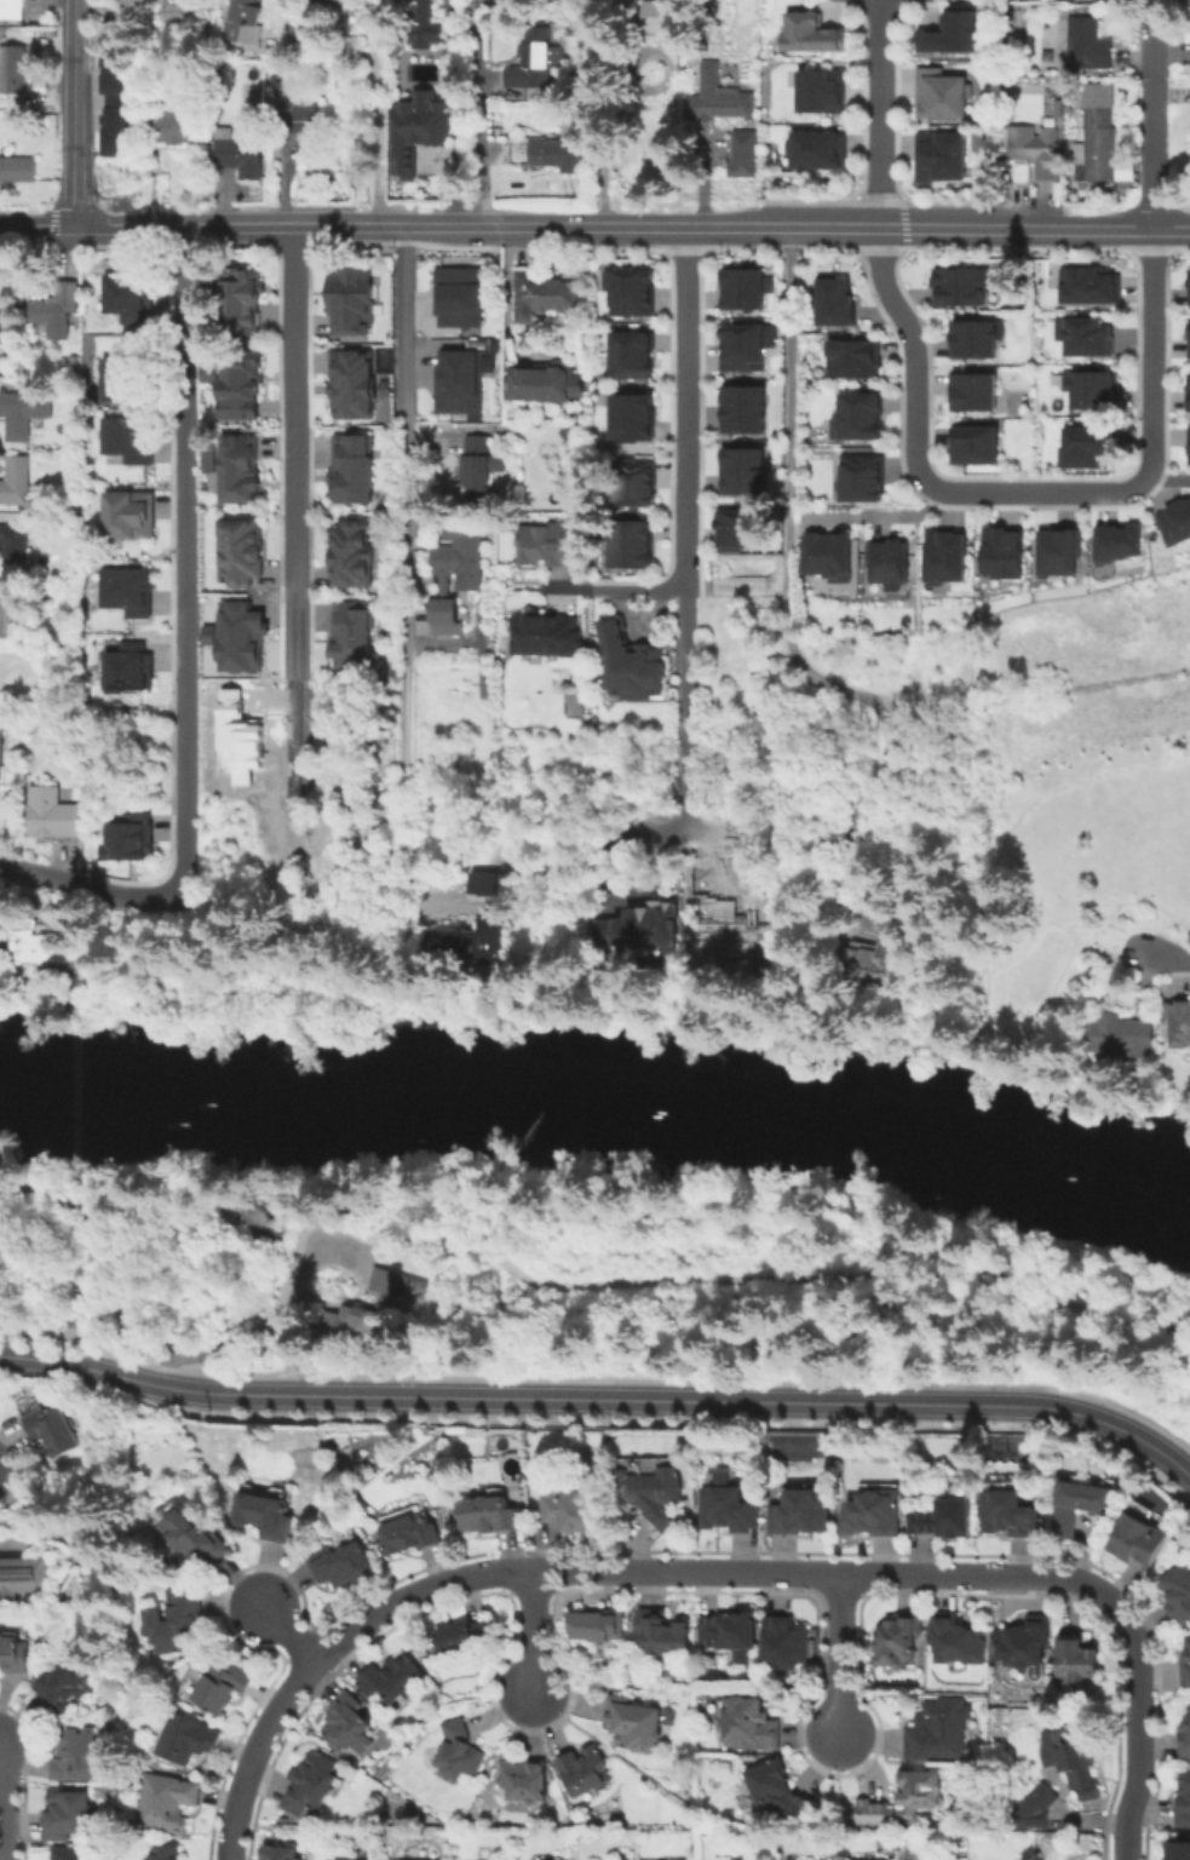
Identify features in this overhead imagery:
building: (1092, 0)
building: (323, 4)
building: (621, 4)
building: (12, 10)
building: (174, 13)
building: (127, 17)
building: (665, 18)
building: (242, 22)
building: (420, 24)
building: (954, 31)
building: (811, 33)
building: (1090, 46)
building: (535, 63)
building: (661, 69)
building: (15, 73)
road: (453, 77)
building: (821, 92)
building: (943, 96)
building: (719, 101)
building: (114, 102)
road: (378, 104)
road: (75, 113)
road: (881, 113)
road: (1152, 114)
building: (299, 116)
building: (177, 128)
building: (418, 133)
road: (481, 136)
building: (1100, 142)
building: (820, 151)
building: (1035, 151)
building: (242, 154)
building: (546, 157)
building: (743, 157)
building: (943, 159)
building: (18, 172)
road: (458, 189)
road: (471, 224)
road: (128, 225)
road: (38, 226)
road: (880, 226)
road: (1096, 228)
building: (960, 285)
building: (1086, 286)
building: (1188, 287)
building: (740, 288)
building: (631, 292)
building: (455, 295)
building: (130, 297)
building: (544, 297)
building: (347, 299)
building: (832, 300)
road: (507, 304)
building: (240, 305)
building: (0, 309)
building: (57, 311)
building: (1082, 337)
building: (975, 339)
building: (1189, 339)
building: (743, 348)
building: (631, 354)
building: (851, 358)
building: (127, 379)
building: (458, 380)
building: (236, 383)
building: (349, 383)
building: (546, 385)
building: (1096, 391)
building: (1189, 392)
building: (976, 394)
building: (743, 409)
building: (17, 417)
building: (628, 418)
building: (857, 418)
building: (128, 438)
building: (1188, 444)
building: (975, 446)
building: (1091, 448)
road: (688, 449)
road: (295, 450)
building: (237, 470)
building: (349, 470)
building: (478, 470)
building: (742, 472)
building: (863, 478)
building: (16, 481)
road: (1168, 481)
building: (631, 482)
road: (1029, 492)
road: (406, 498)
building: (128, 515)
road: (879, 515)
building: (1175, 522)
building: (735, 529)
building: (1114, 542)
building: (631, 545)
building: (550, 546)
building: (15, 549)
building: (1060, 552)
building: (461, 553)
building: (243, 555)
building: (351, 555)
building: (945, 556)
building: (829, 557)
building: (1002, 557)
building: (890, 566)
road: (562, 590)
building: (126, 591)
road: (789, 598)
road: (185, 609)
building: (8, 613)
building: (444, 615)
building: (351, 635)
building: (541, 635)
building: (235, 636)
road: (433, 644)
building: (630, 665)
building: (127, 668)
building: (238, 740)
building: (1, 748)
road: (686, 775)
building: (53, 815)
building: (127, 837)
park: (1076, 837)
road: (40, 876)
building: (495, 914)
building: (1, 920)
building: (642, 926)
building: (44, 951)
building: (883, 957)
road: (1166, 957)
building: (1178, 1024)
building: (1119, 1038)
river: (599, 1089)
road: (195, 1196)
road: (104, 1204)
road: (484, 1250)
park: (42, 1256)
parking lot: (343, 1258)
park: (633, 1285)
building: (367, 1309)
road: (33, 1332)
road: (598, 1399)
building: (54, 1433)
road: (1188, 1474)
building: (654, 1496)
building: (728, 1509)
building: (1080, 1509)
building: (569, 1510)
building: (804, 1511)
building: (874, 1512)
building: (1010, 1515)
building: (270, 1516)
building: (493, 1516)
building: (945, 1517)
building: (410, 1534)
building: (192, 1537)
road: (12, 1542)
building: (1138, 1542)
building: (343, 1567)
road: (602, 1571)
building: (22, 1573)
building: (1177, 1596)
building: (176, 1624)
building: (597, 1627)
road: (535, 1632)
road: (291, 1635)
building: (660, 1635)
building: (729, 1636)
building: (466, 1638)
building: (899, 1642)
building: (958, 1642)
building: (1024, 1643)
building: (784, 1646)
building: (15, 1654)
road: (840, 1655)
building: (1076, 1660)
building: (1186, 1666)
building: (392, 1680)
building: (73, 1682)
building: (224, 1688)
building: (345, 1723)
building: (637, 1726)
building: (749, 1727)
building: (939, 1732)
road: (1138, 1733)
building: (1185, 1739)
building: (185, 1741)
building: (461, 1755)
building: (76, 1757)
building: (1076, 1762)
building: (582, 1775)
building: (527, 1781)
building: (312, 1785)
building: (778, 1790)
building: (906, 1801)
building: (1183, 1803)
building: (167, 1804)
building: (1035, 1806)
building: (69, 1815)
road: (4, 1819)
building: (1179, 1843)
building: (168, 1854)
building: (77, 1855)
building: (282, 1855)
building: (349, 1858)

